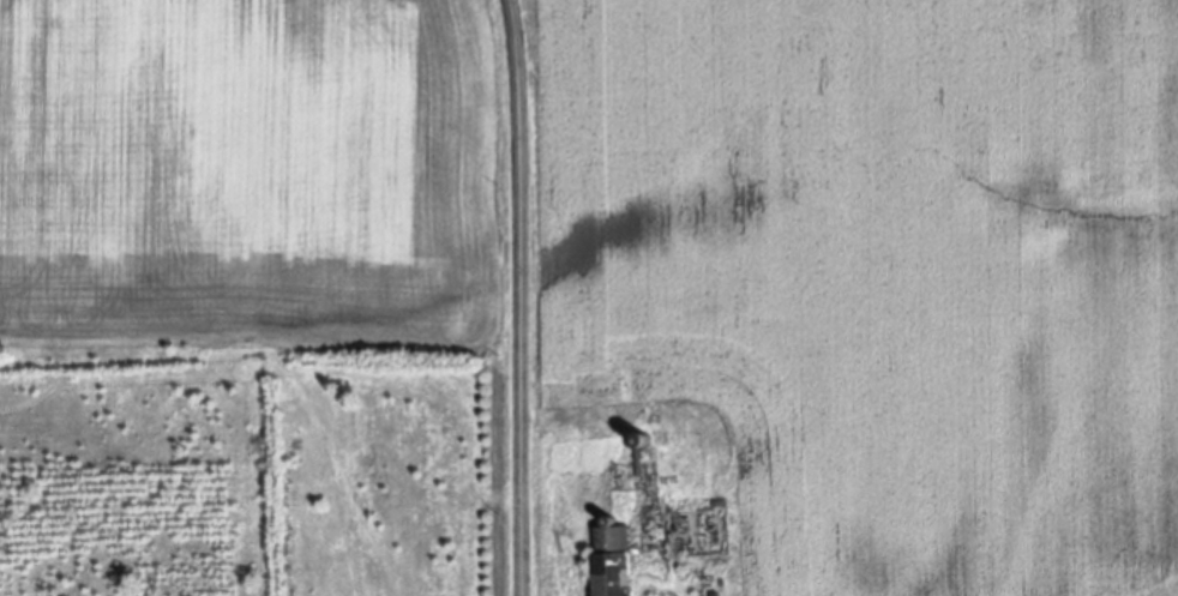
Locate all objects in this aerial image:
road: (516, 297)
building: (612, 540)
building: (618, 585)
building: (716, 594)

